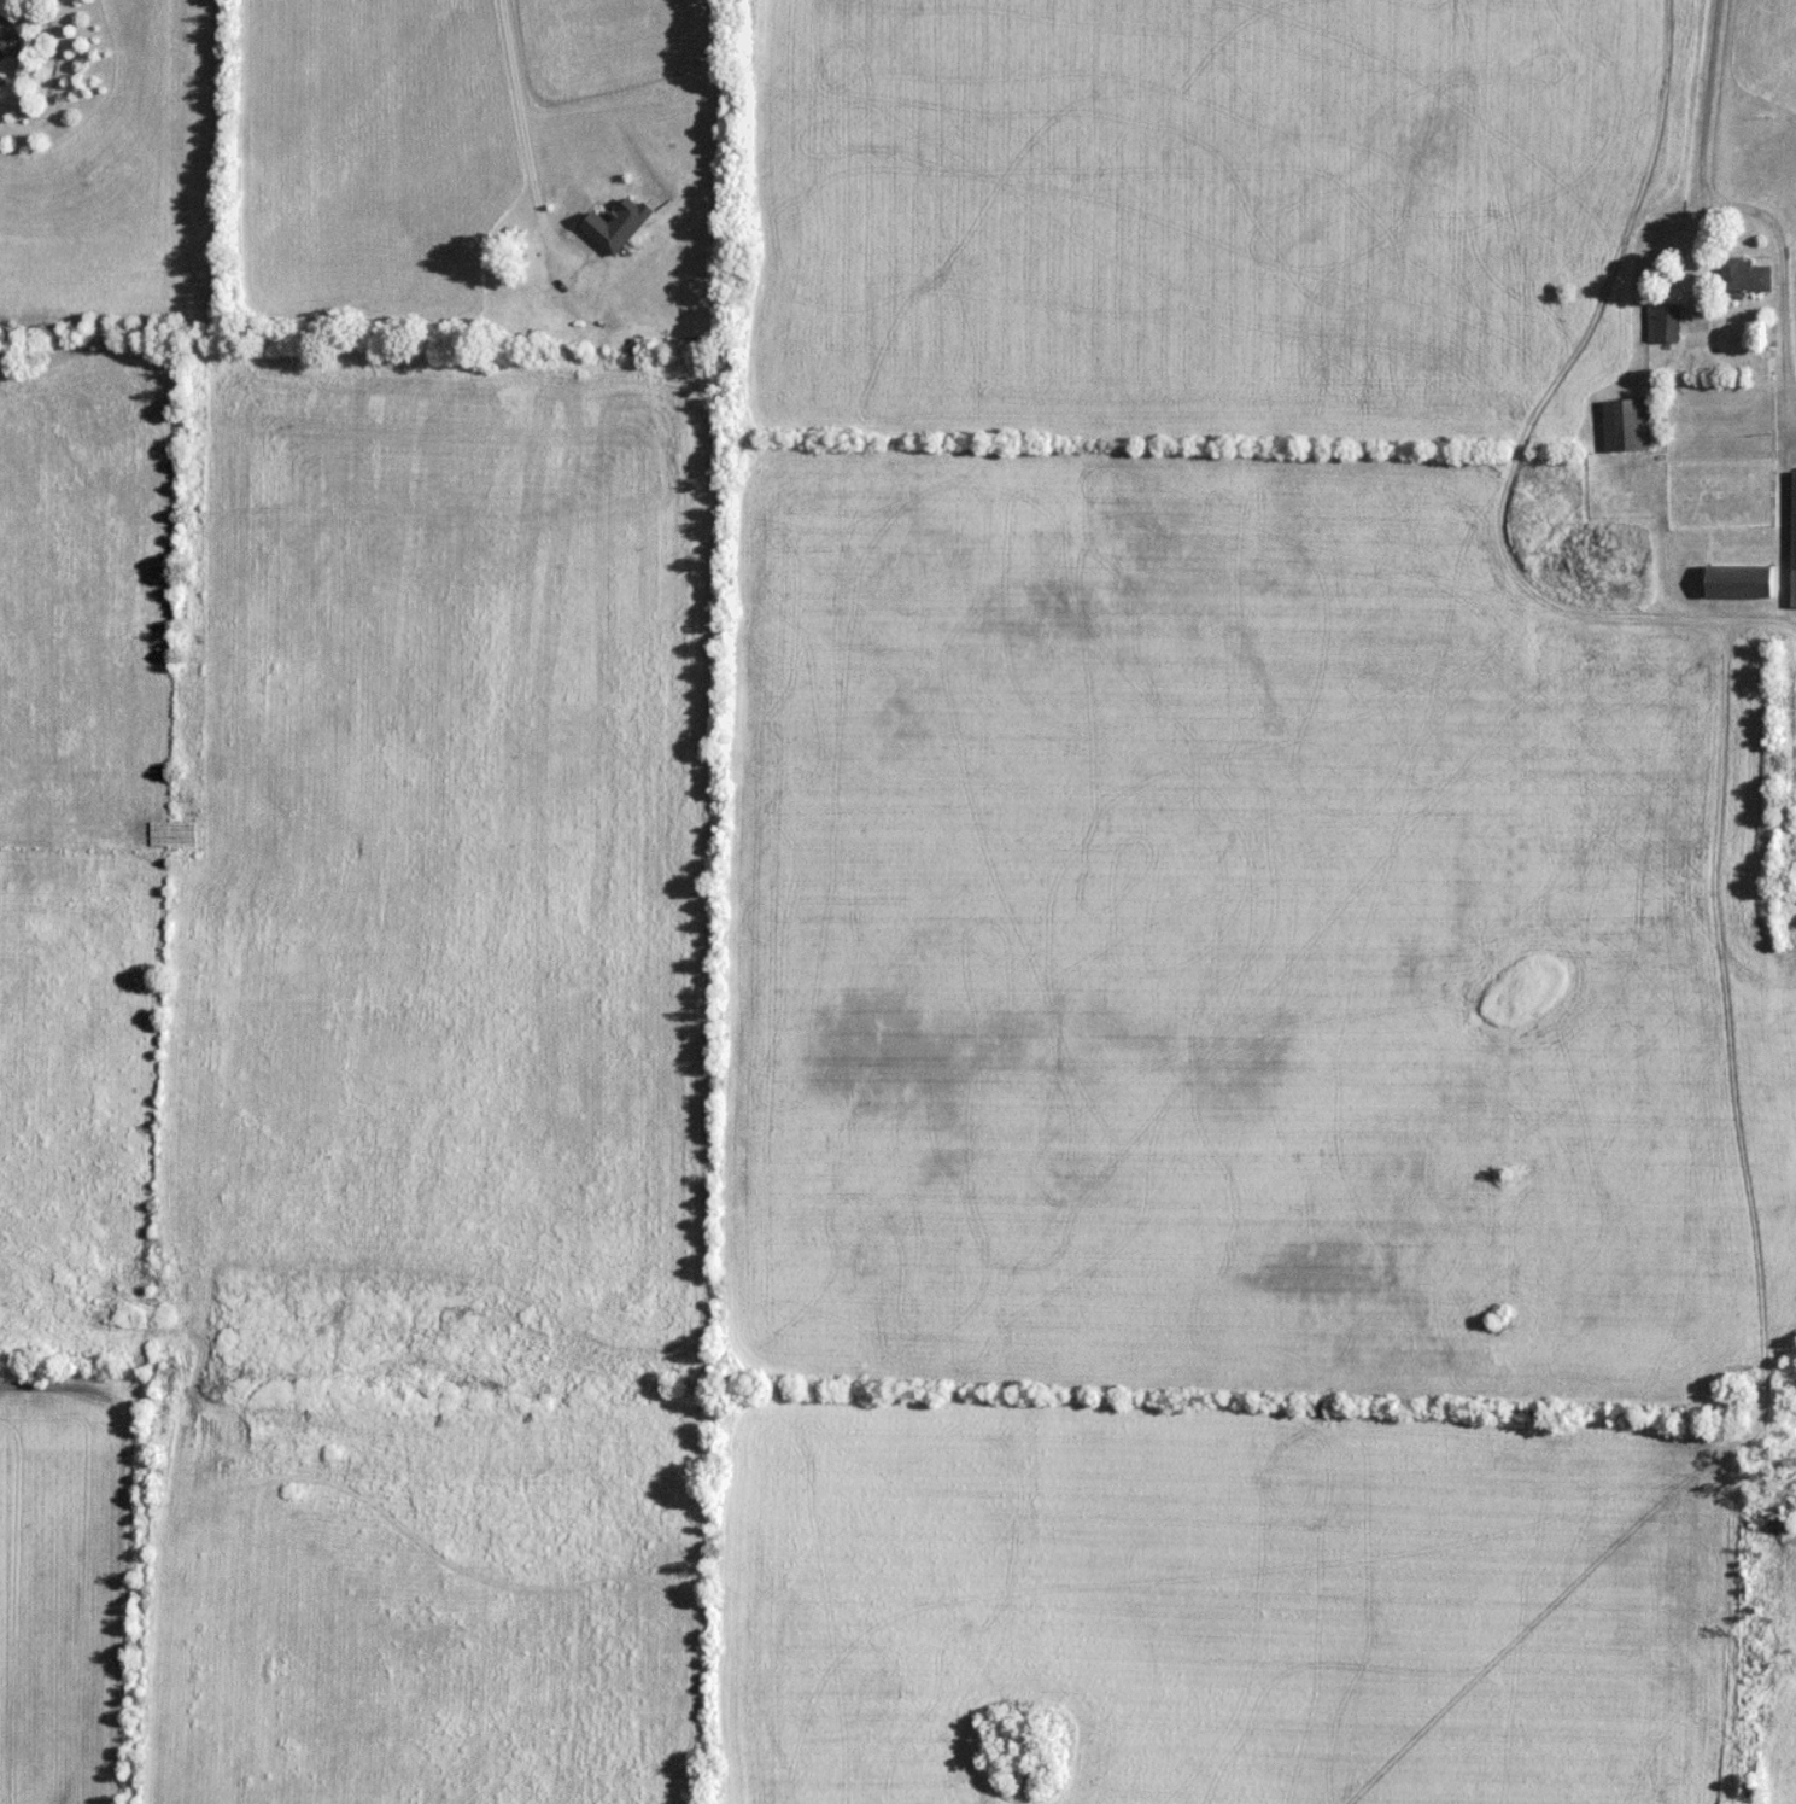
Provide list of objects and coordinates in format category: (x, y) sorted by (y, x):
road: (1718, 92)
road: (526, 146)
building: (1744, 278)
building: (1665, 322)
building: (1627, 425)
building: (1795, 537)
building: (1742, 580)

